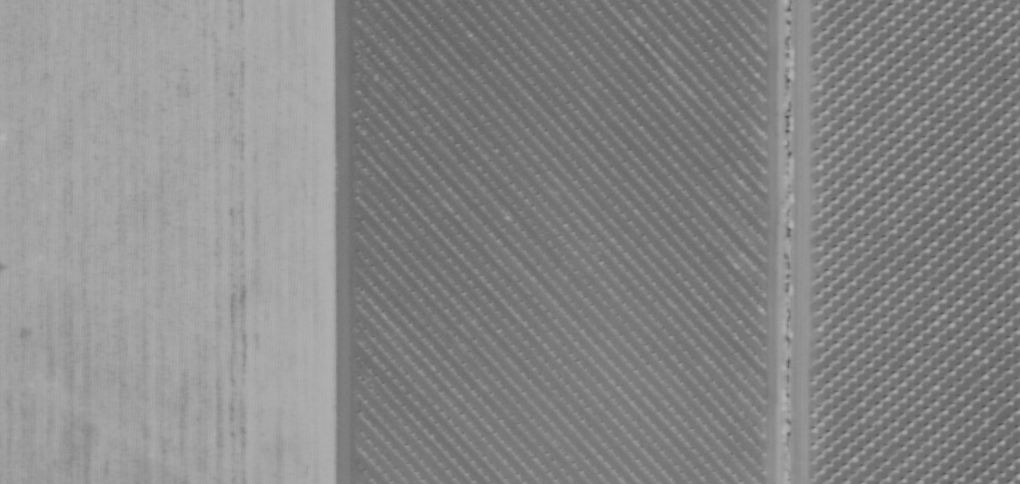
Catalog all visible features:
crop: (903, 241)
crop: (370, 242)
road: (782, 242)

